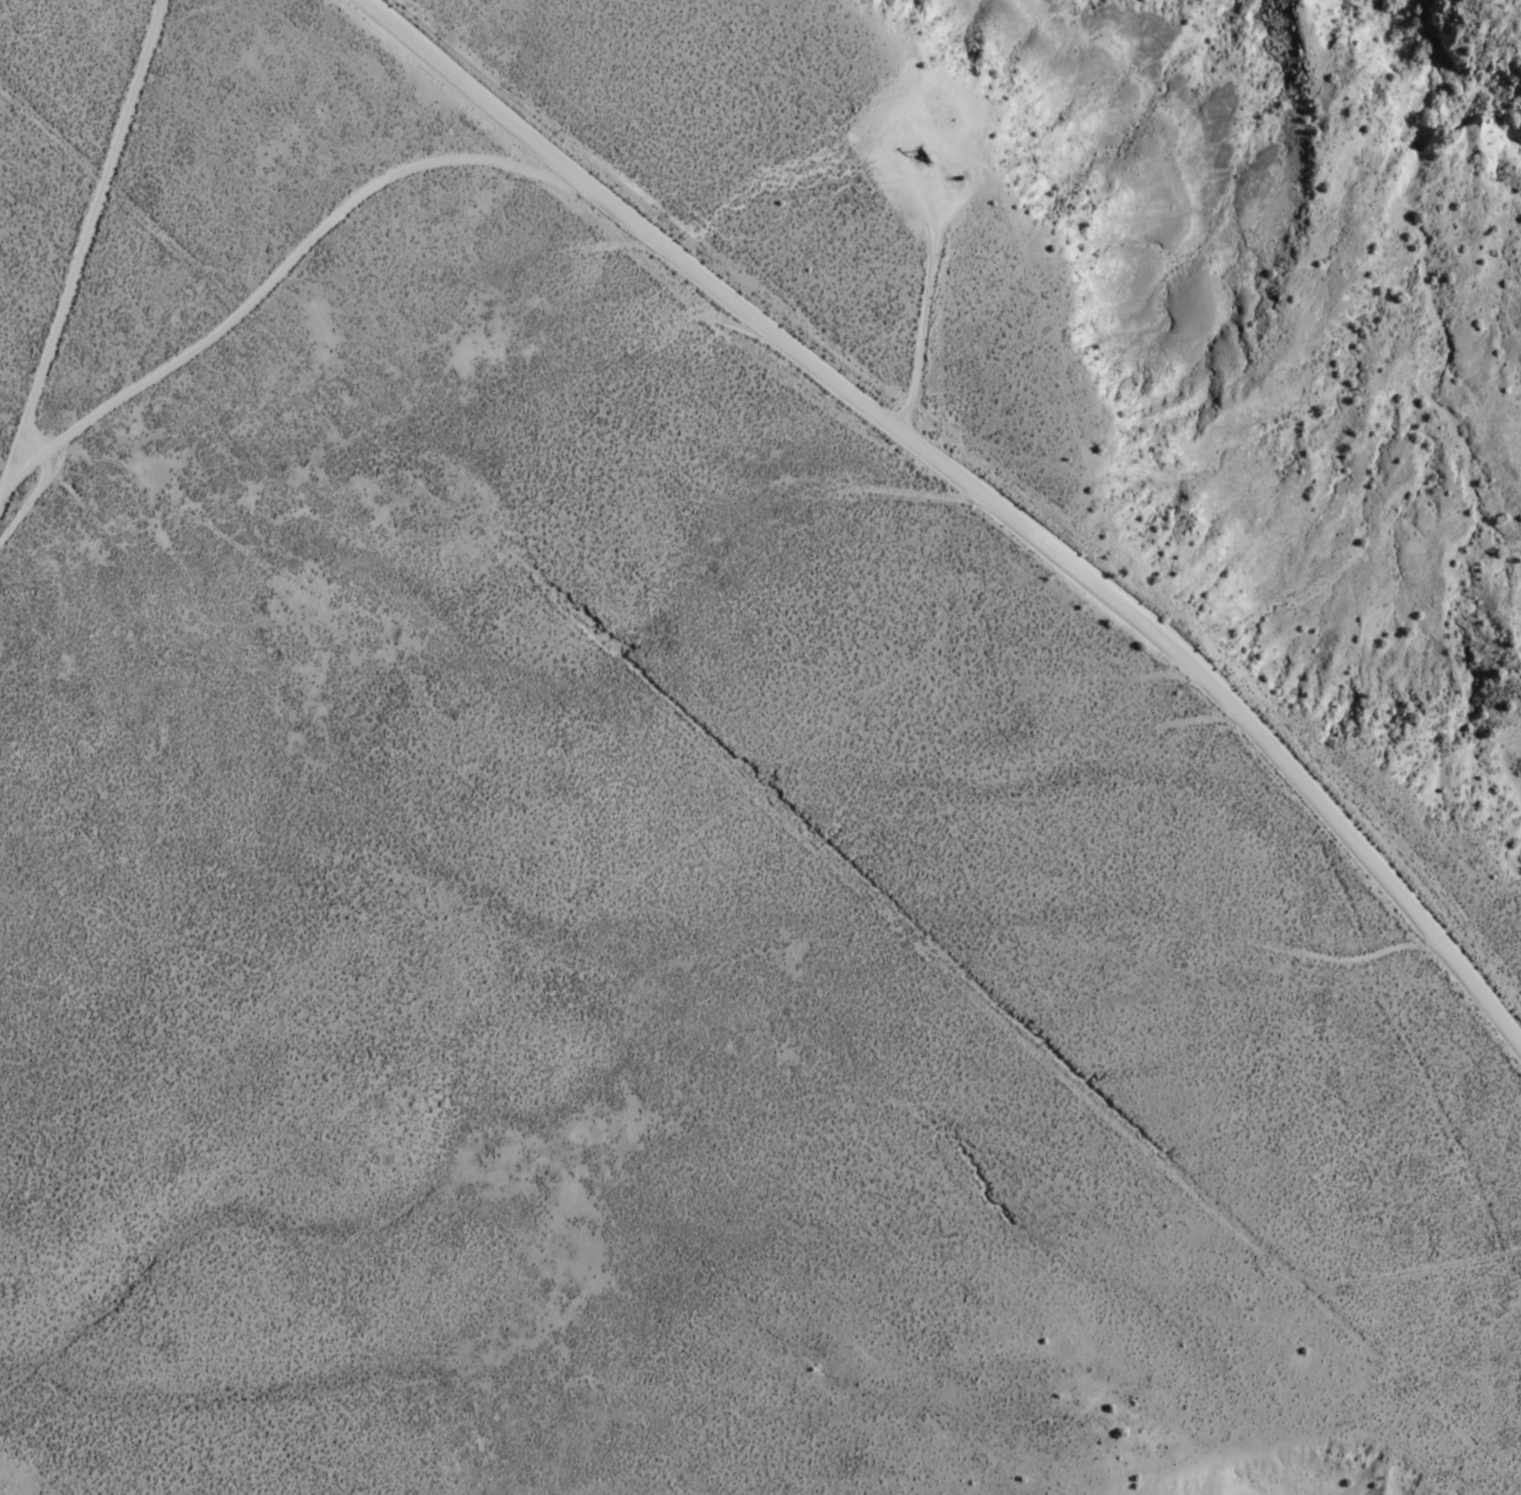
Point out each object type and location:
road: (99, 263)
road: (973, 491)

